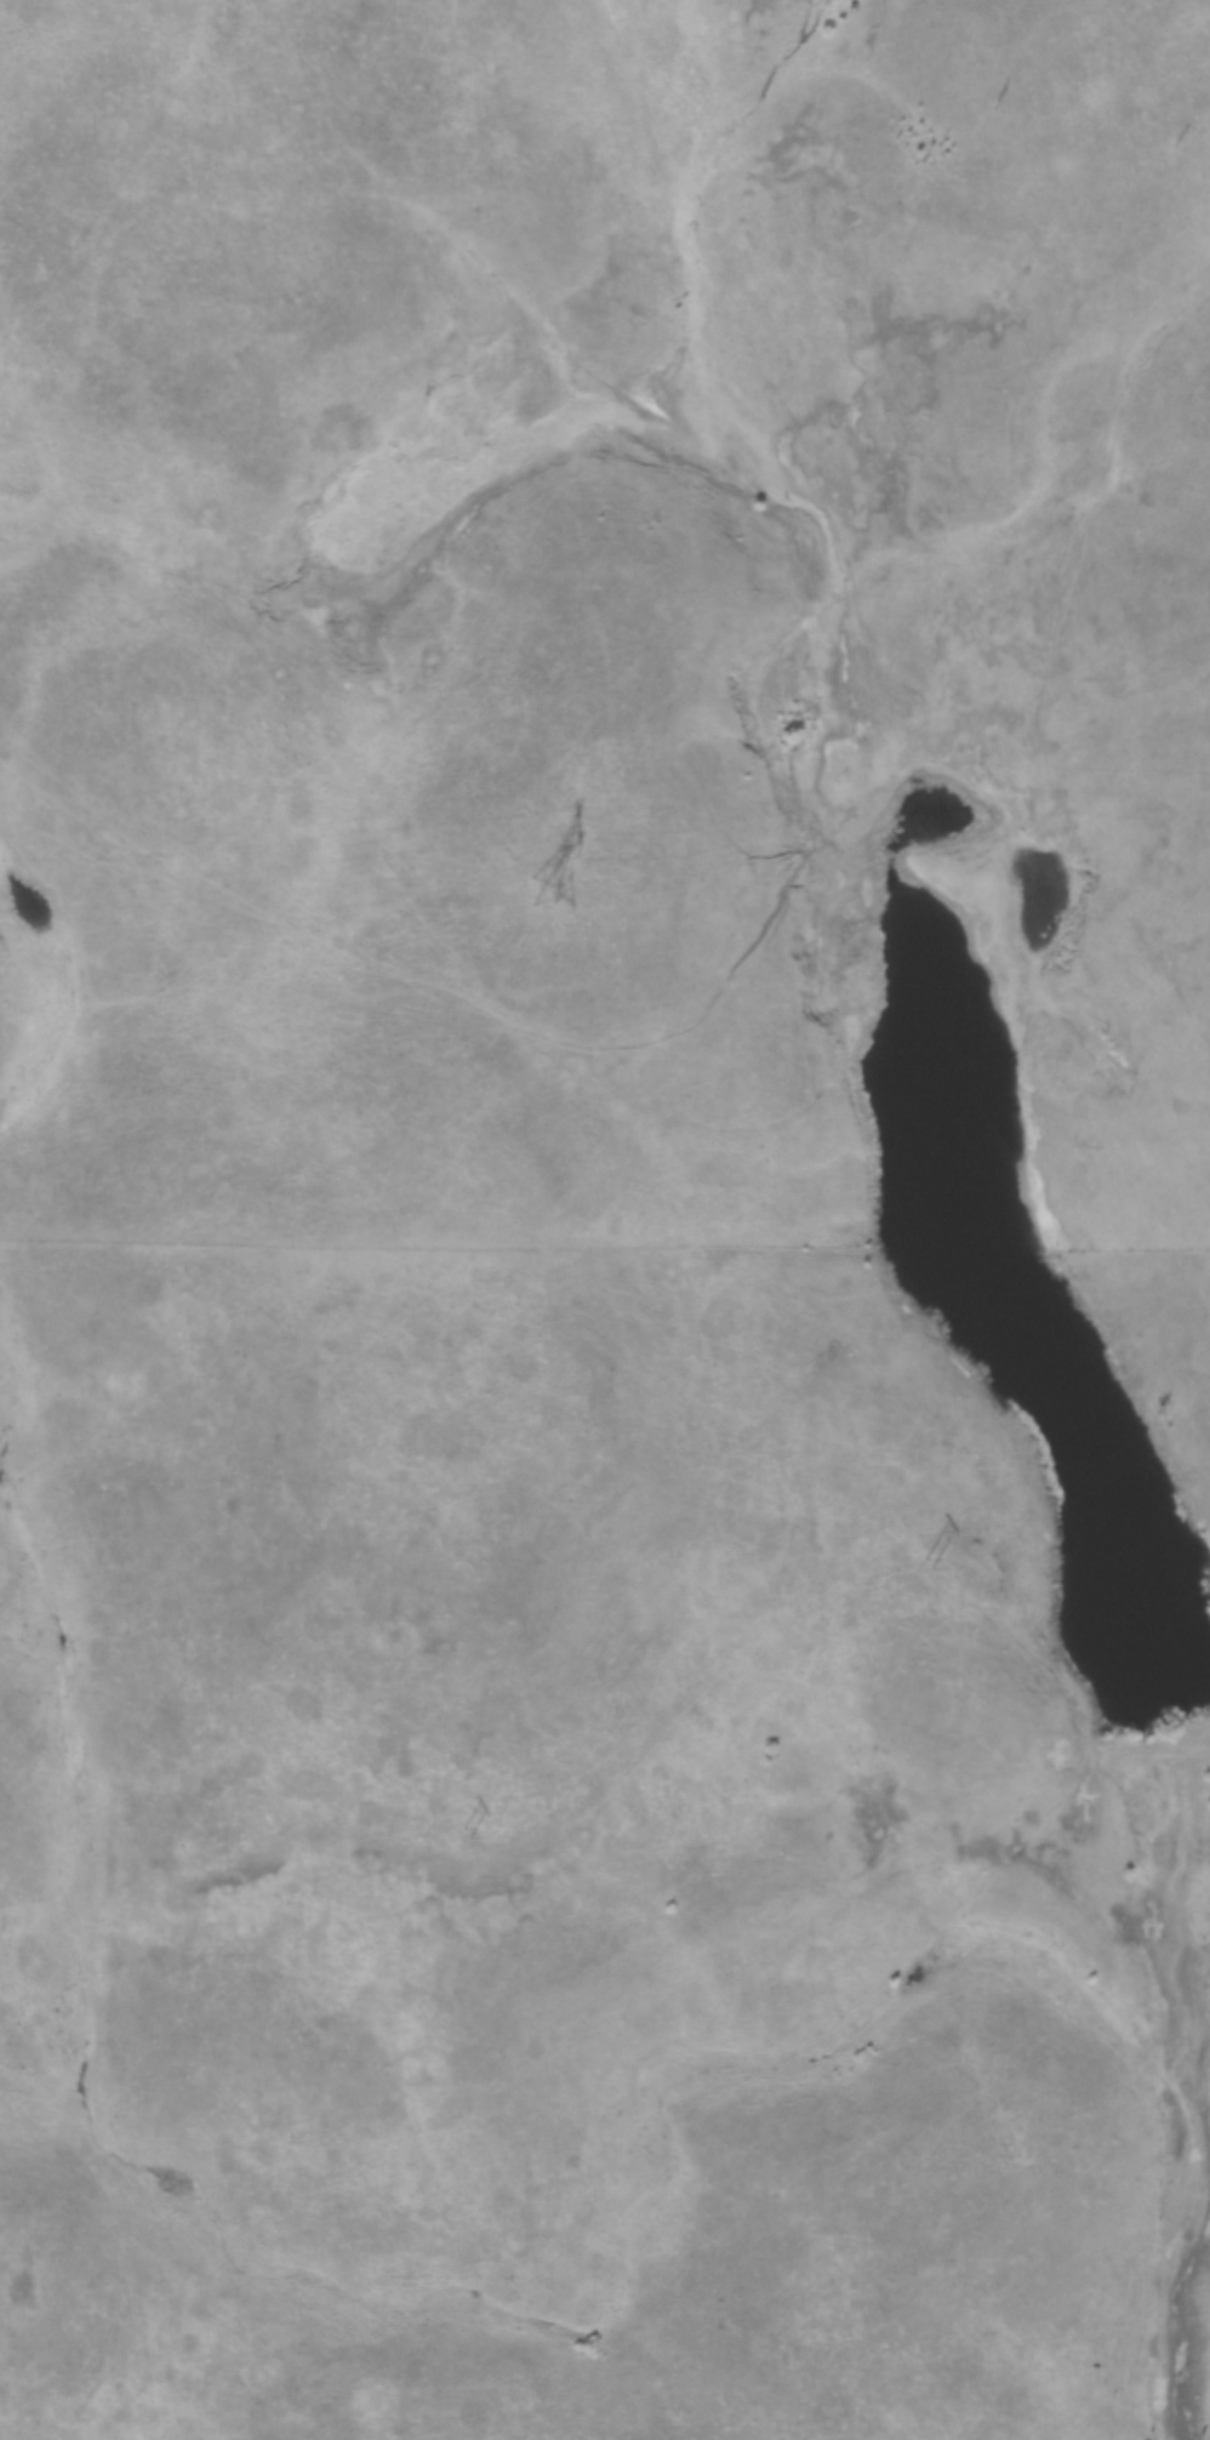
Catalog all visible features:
power tower: (541, 888)

